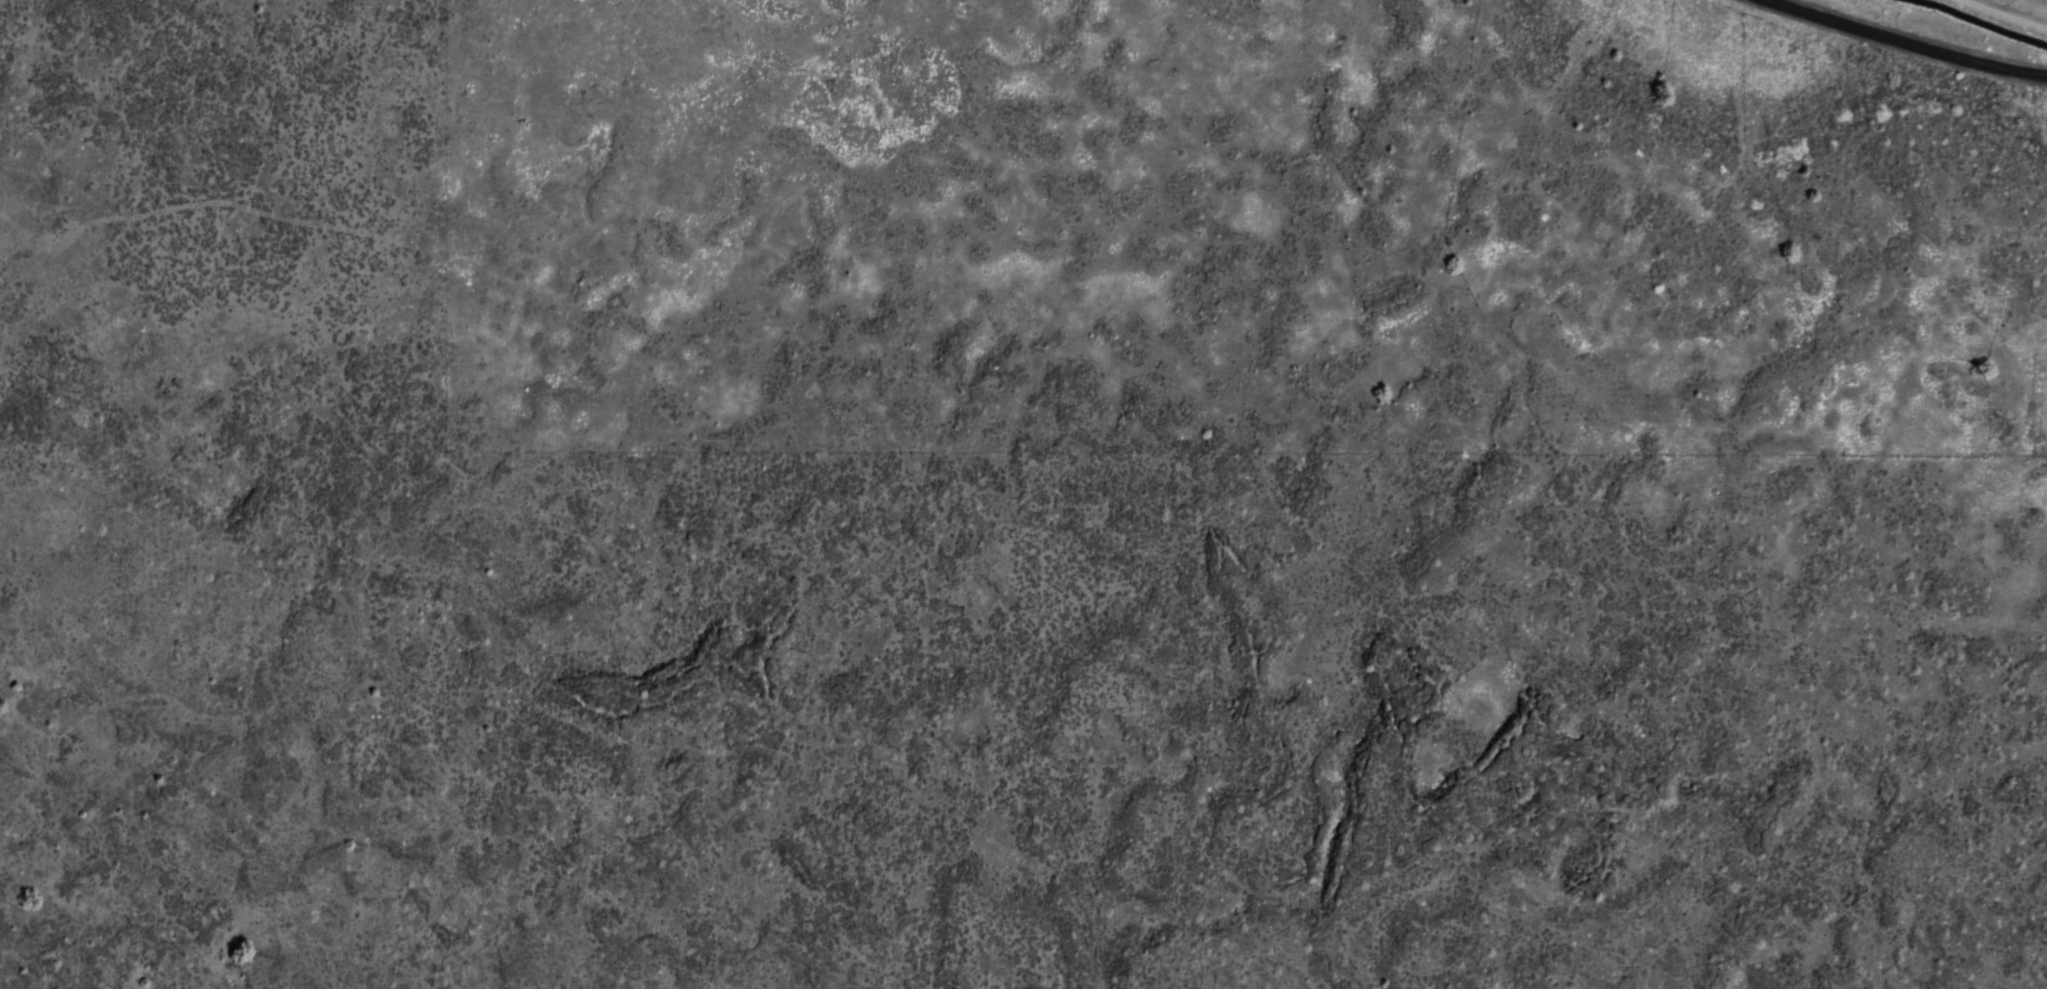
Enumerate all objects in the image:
road: (1901, 48)

